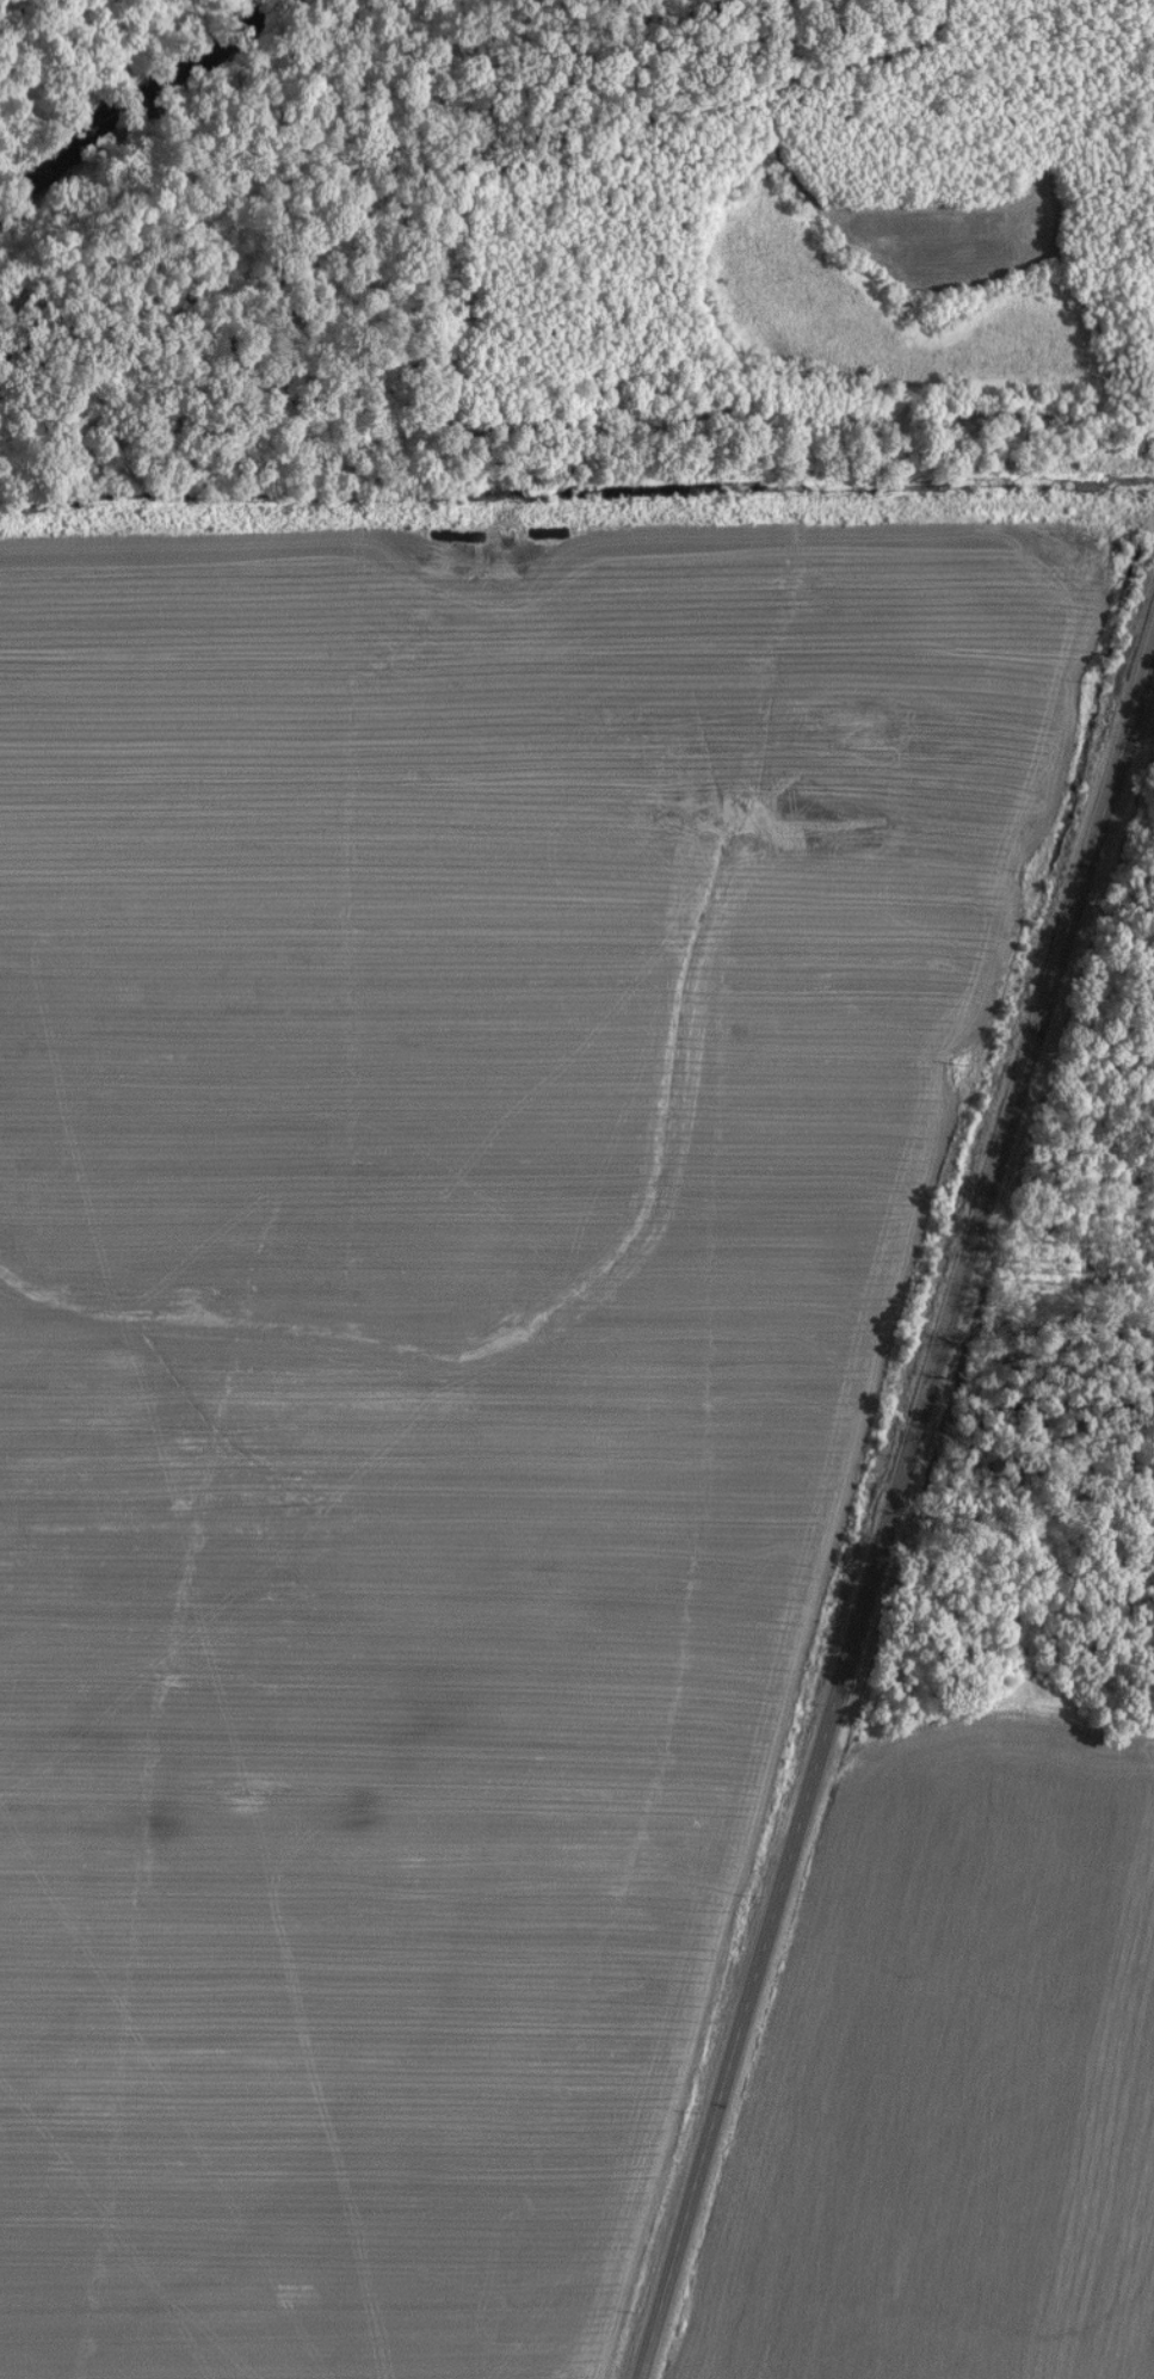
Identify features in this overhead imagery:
road: (888, 1506)

